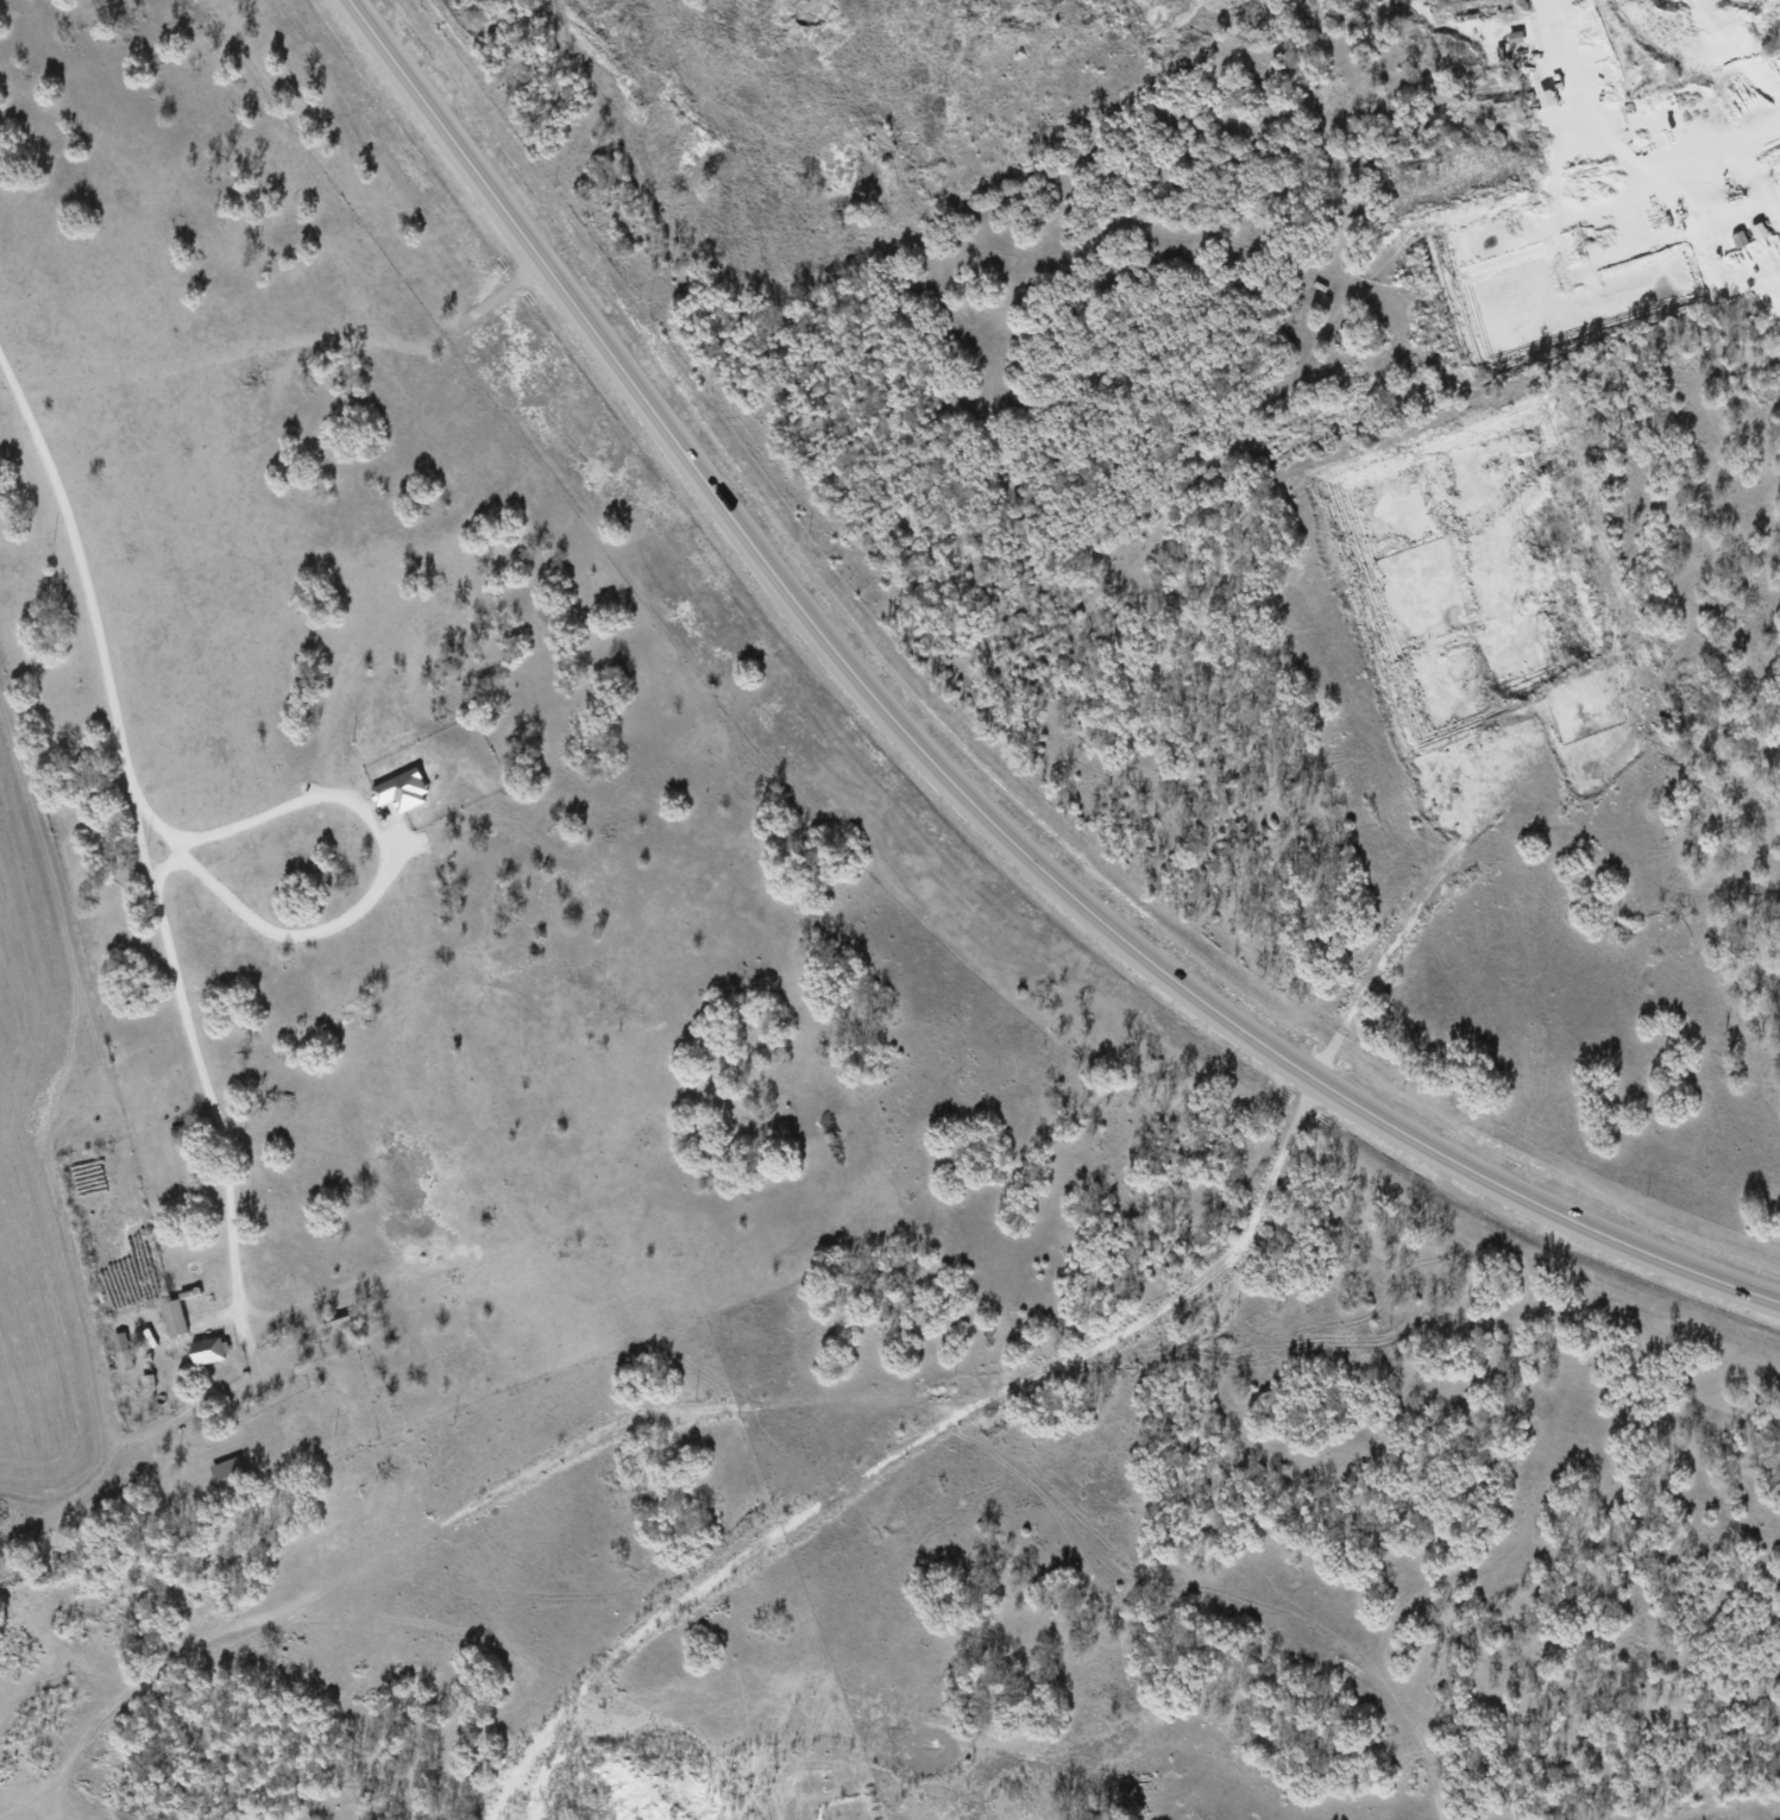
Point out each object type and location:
road: (1735, 149)
road: (949, 782)
building: (400, 789)
road: (138, 848)
road: (170, 867)
road: (373, 902)
building: (172, 1316)
building: (121, 1349)
building: (207, 1349)
building: (225, 1472)

